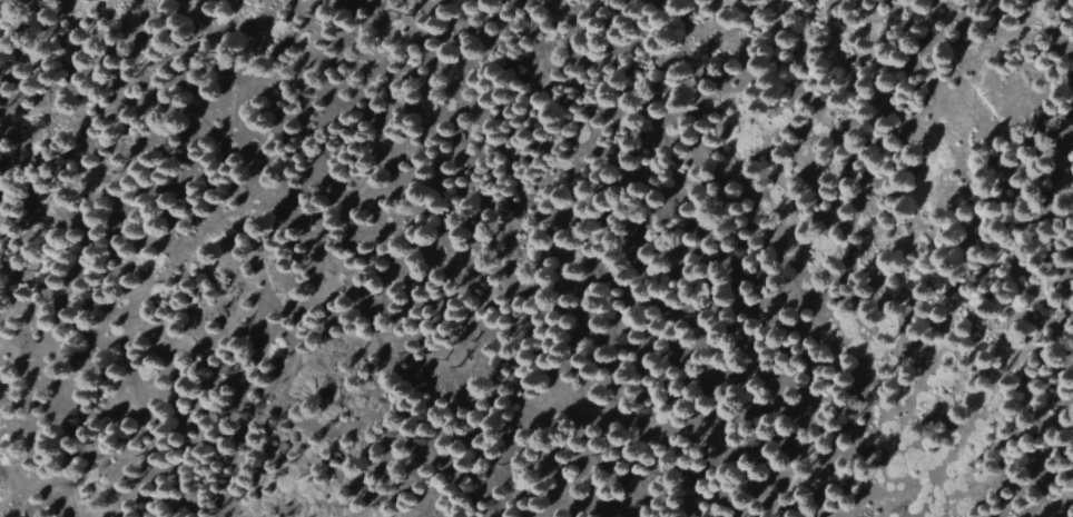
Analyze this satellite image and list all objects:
road: (1036, 496)

